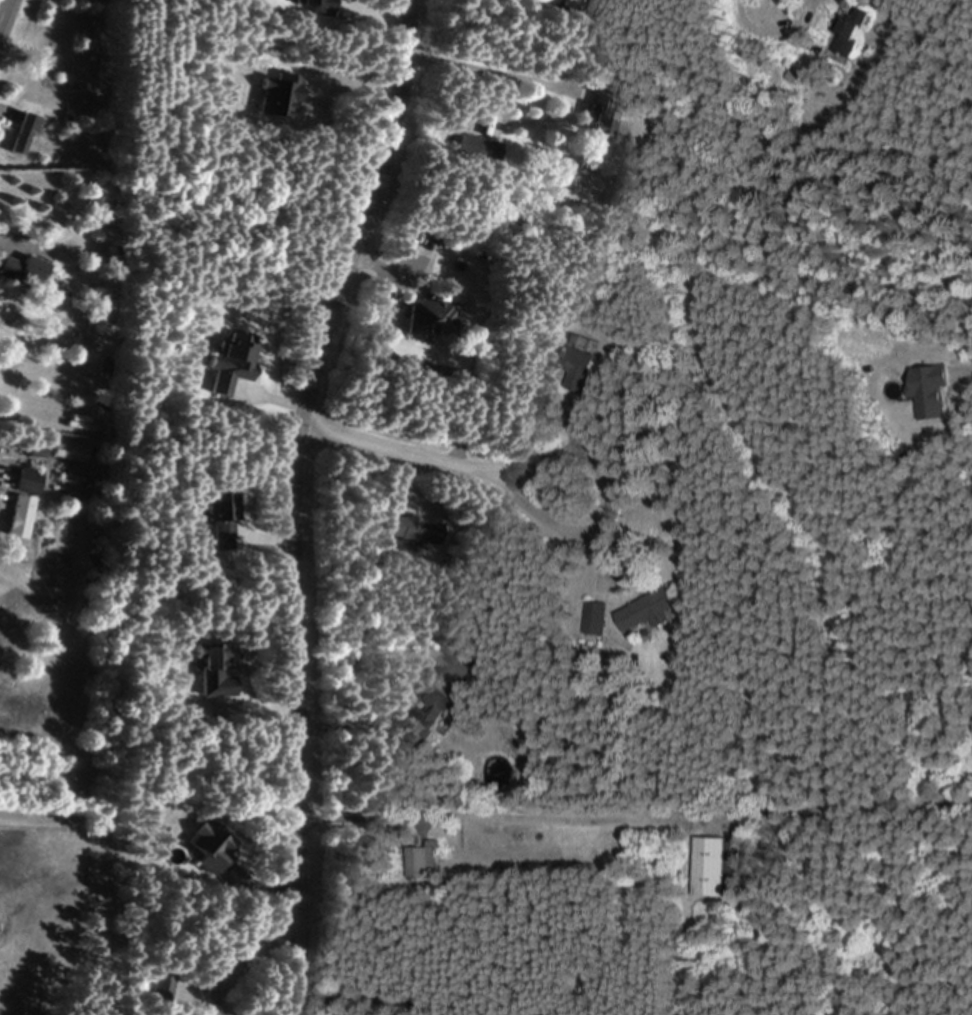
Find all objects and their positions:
building: (579, 1)
road: (2, 6)
building: (312, 7)
road: (778, 29)
building: (846, 32)
road: (489, 72)
building: (277, 96)
building: (596, 113)
building: (20, 132)
road: (25, 242)
building: (21, 271)
building: (426, 317)
building: (229, 360)
building: (573, 364)
road: (383, 450)
building: (66, 452)
road: (294, 454)
road: (552, 458)
building: (23, 482)
road: (533, 513)
building: (17, 516)
building: (219, 519)
building: (409, 529)
building: (646, 612)
building: (593, 619)
building: (212, 671)
road: (372, 713)
building: (427, 723)
road: (506, 815)
building: (207, 845)
building: (420, 860)
building: (713, 867)
road: (278, 932)
building: (159, 987)

